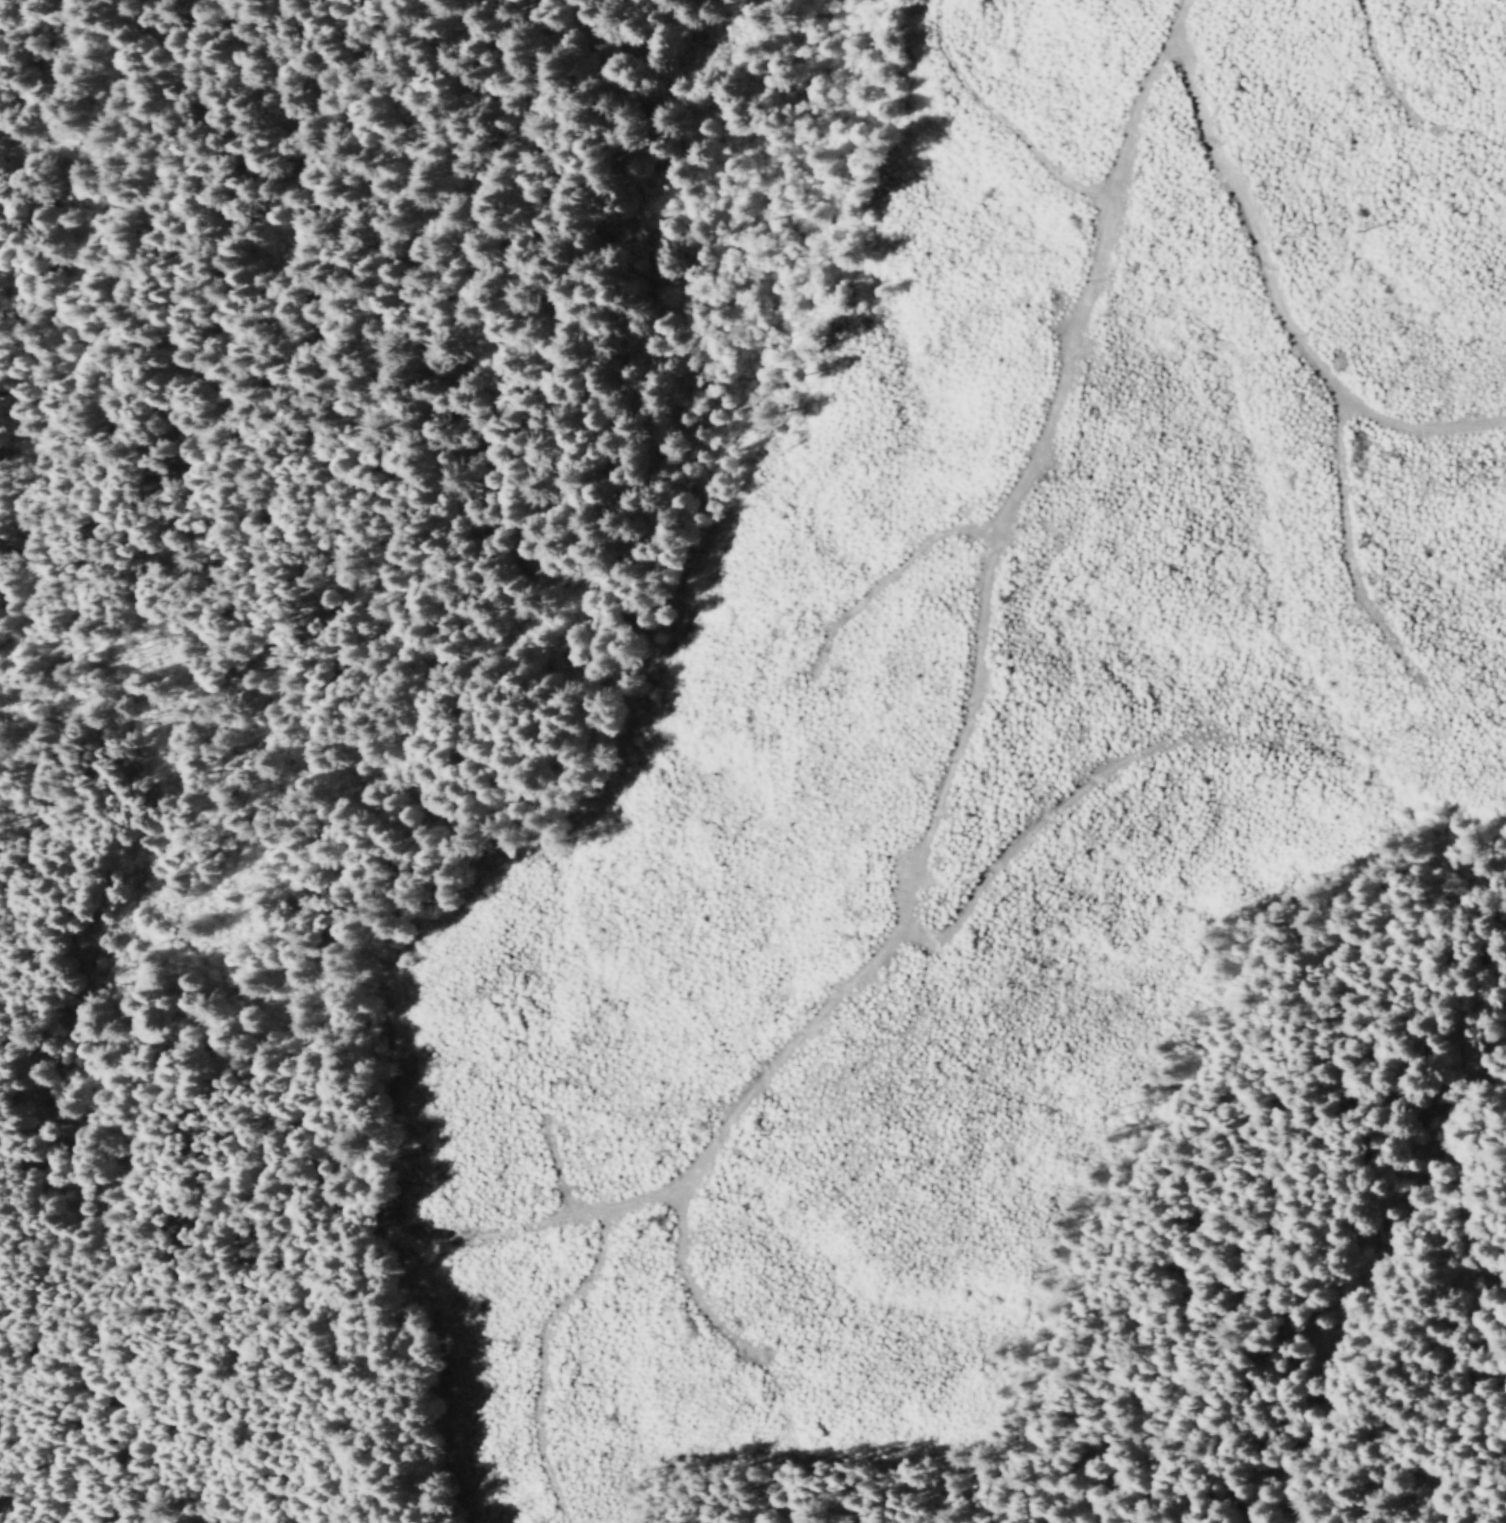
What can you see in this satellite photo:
road: (1267, 288)

